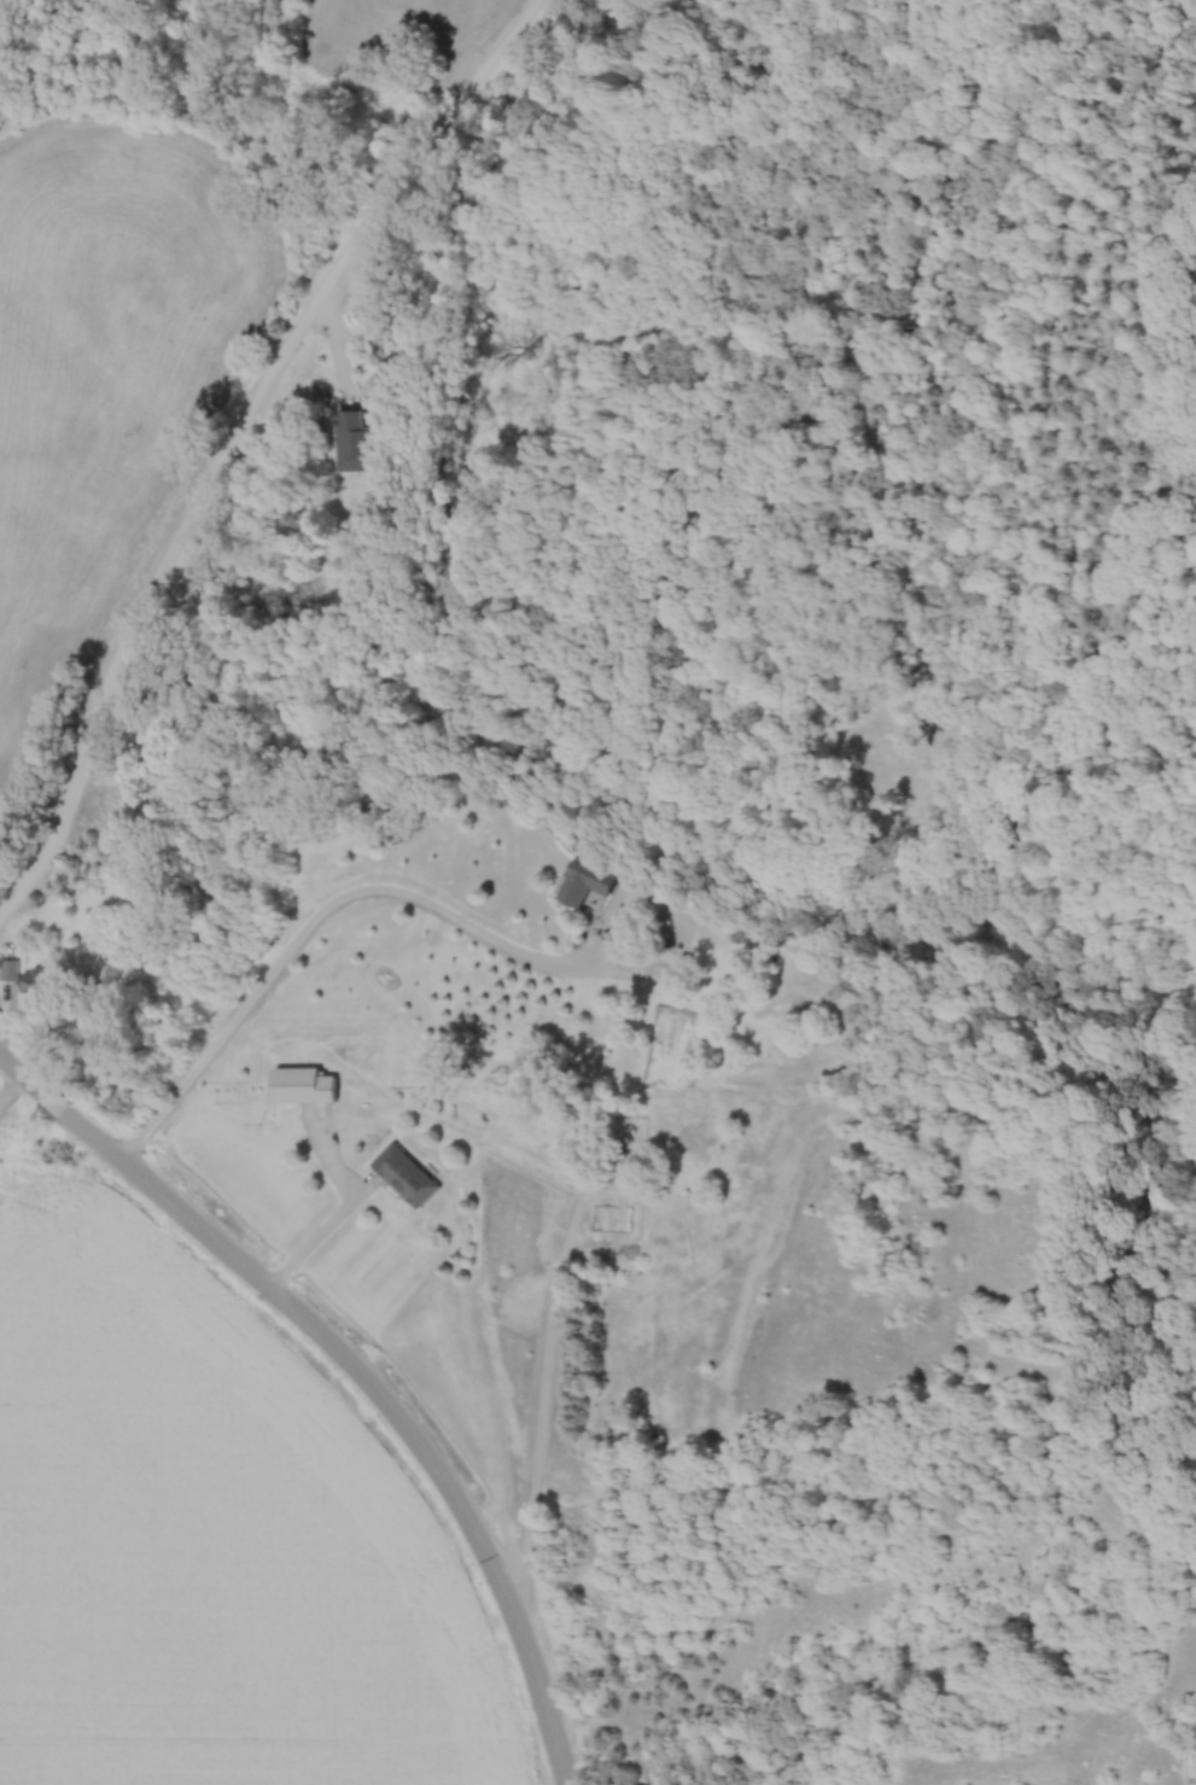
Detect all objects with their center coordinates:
road: (231, 433)
building: (357, 436)
building: (10, 967)
building: (39, 979)
road: (22, 1072)
building: (304, 1081)
road: (56, 1098)
building: (407, 1172)
road: (310, 1232)
road: (373, 1401)
road: (525, 1410)

